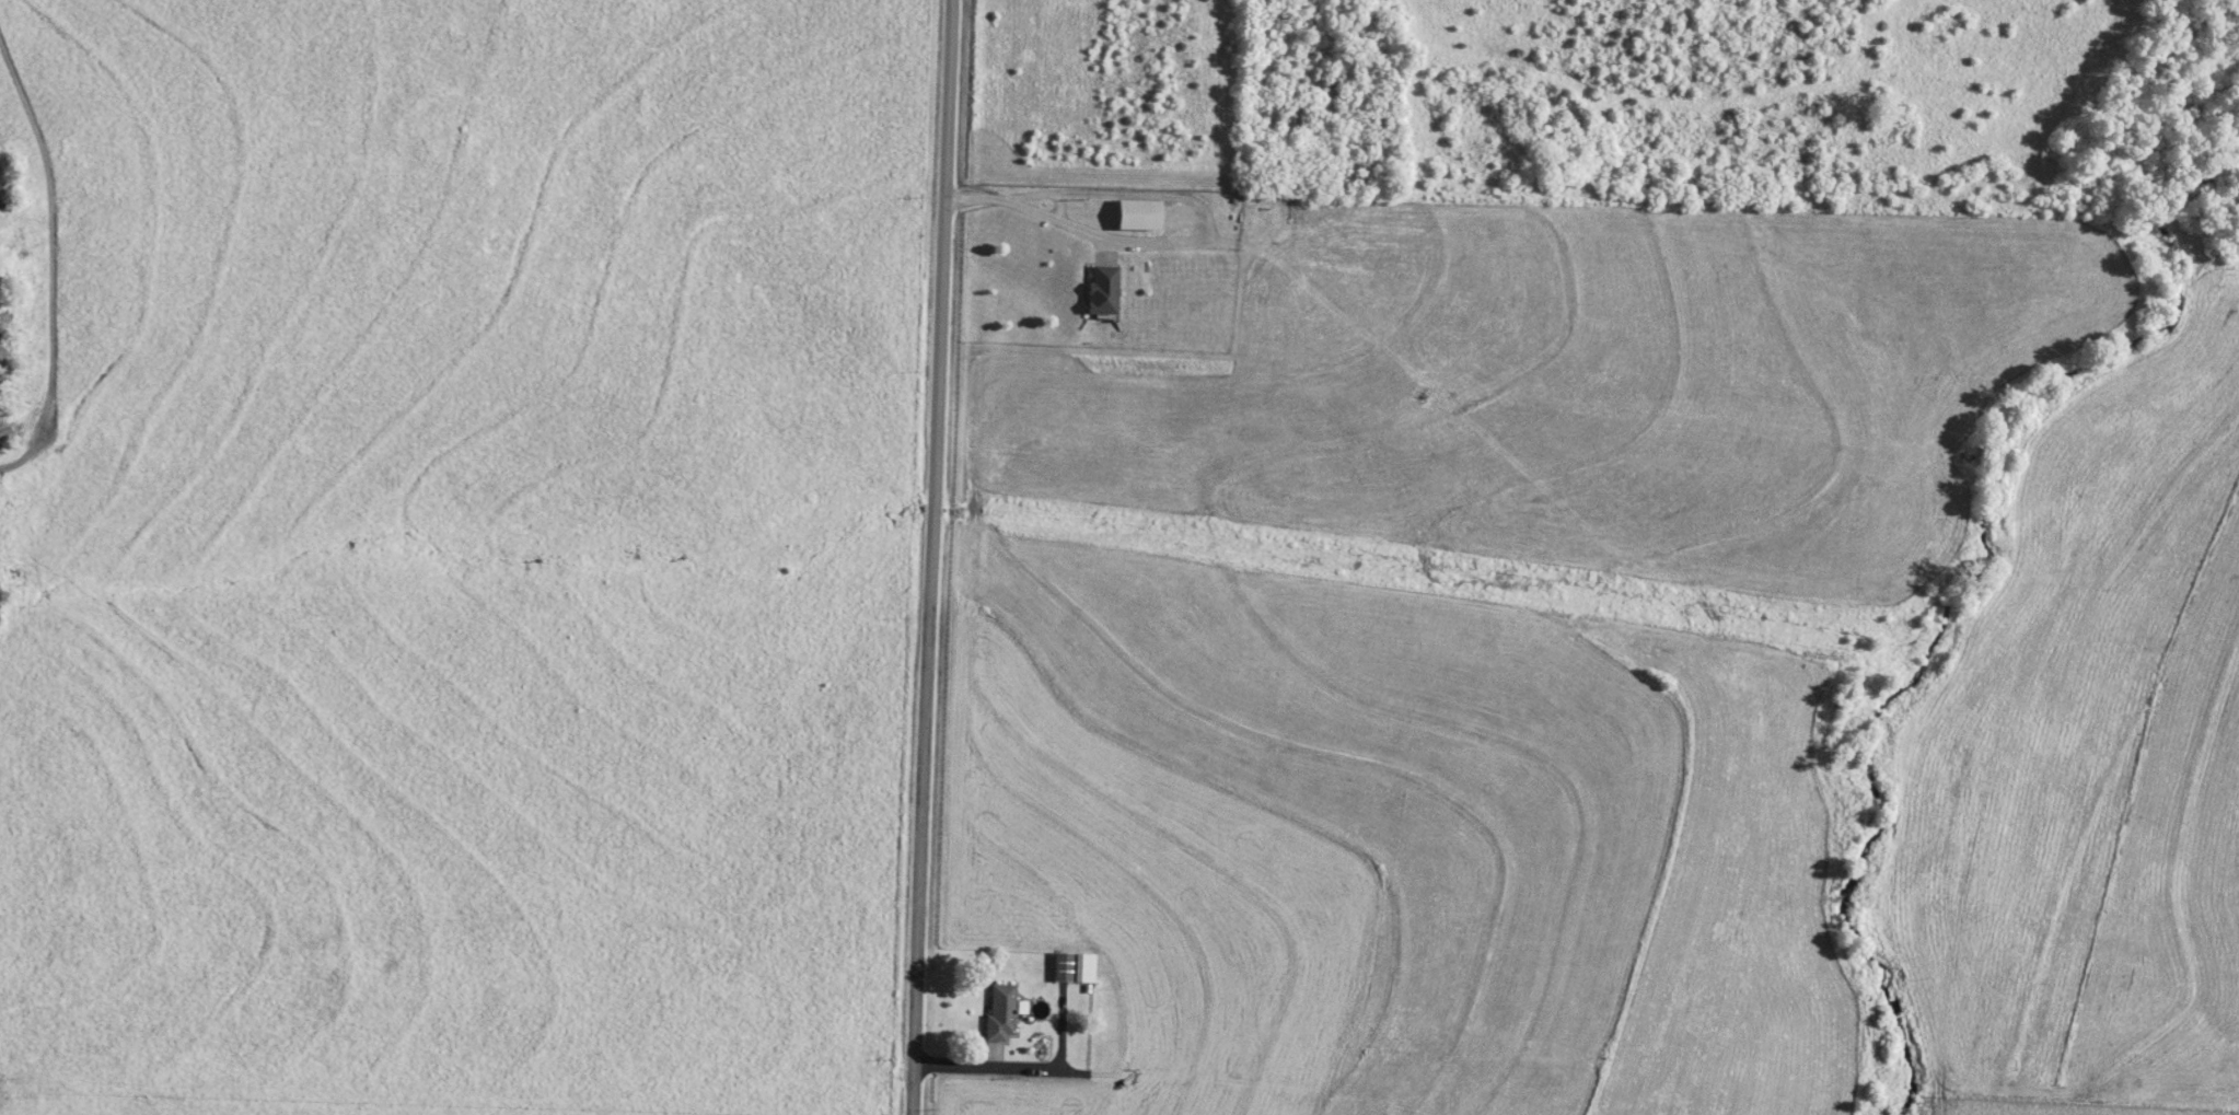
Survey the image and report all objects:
building: (1141, 214)
road: (1030, 218)
building: (1104, 289)
road: (932, 557)
building: (1075, 967)
building: (1001, 1011)
road: (1028, 1065)

